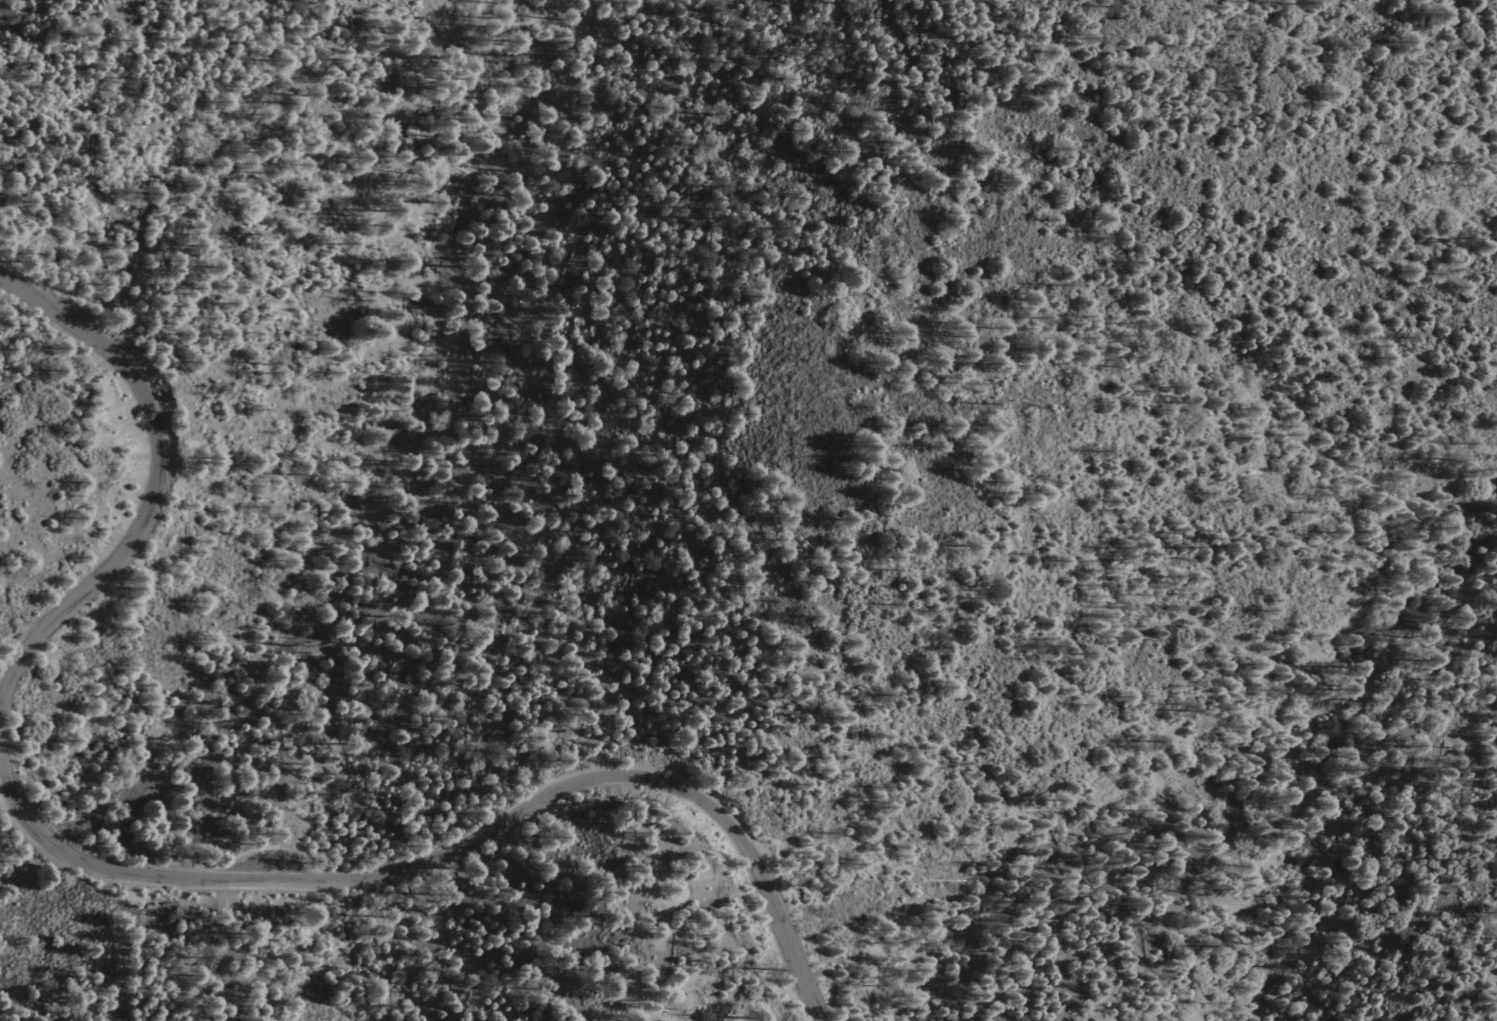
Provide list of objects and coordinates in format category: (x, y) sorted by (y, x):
road: (157, 878)

